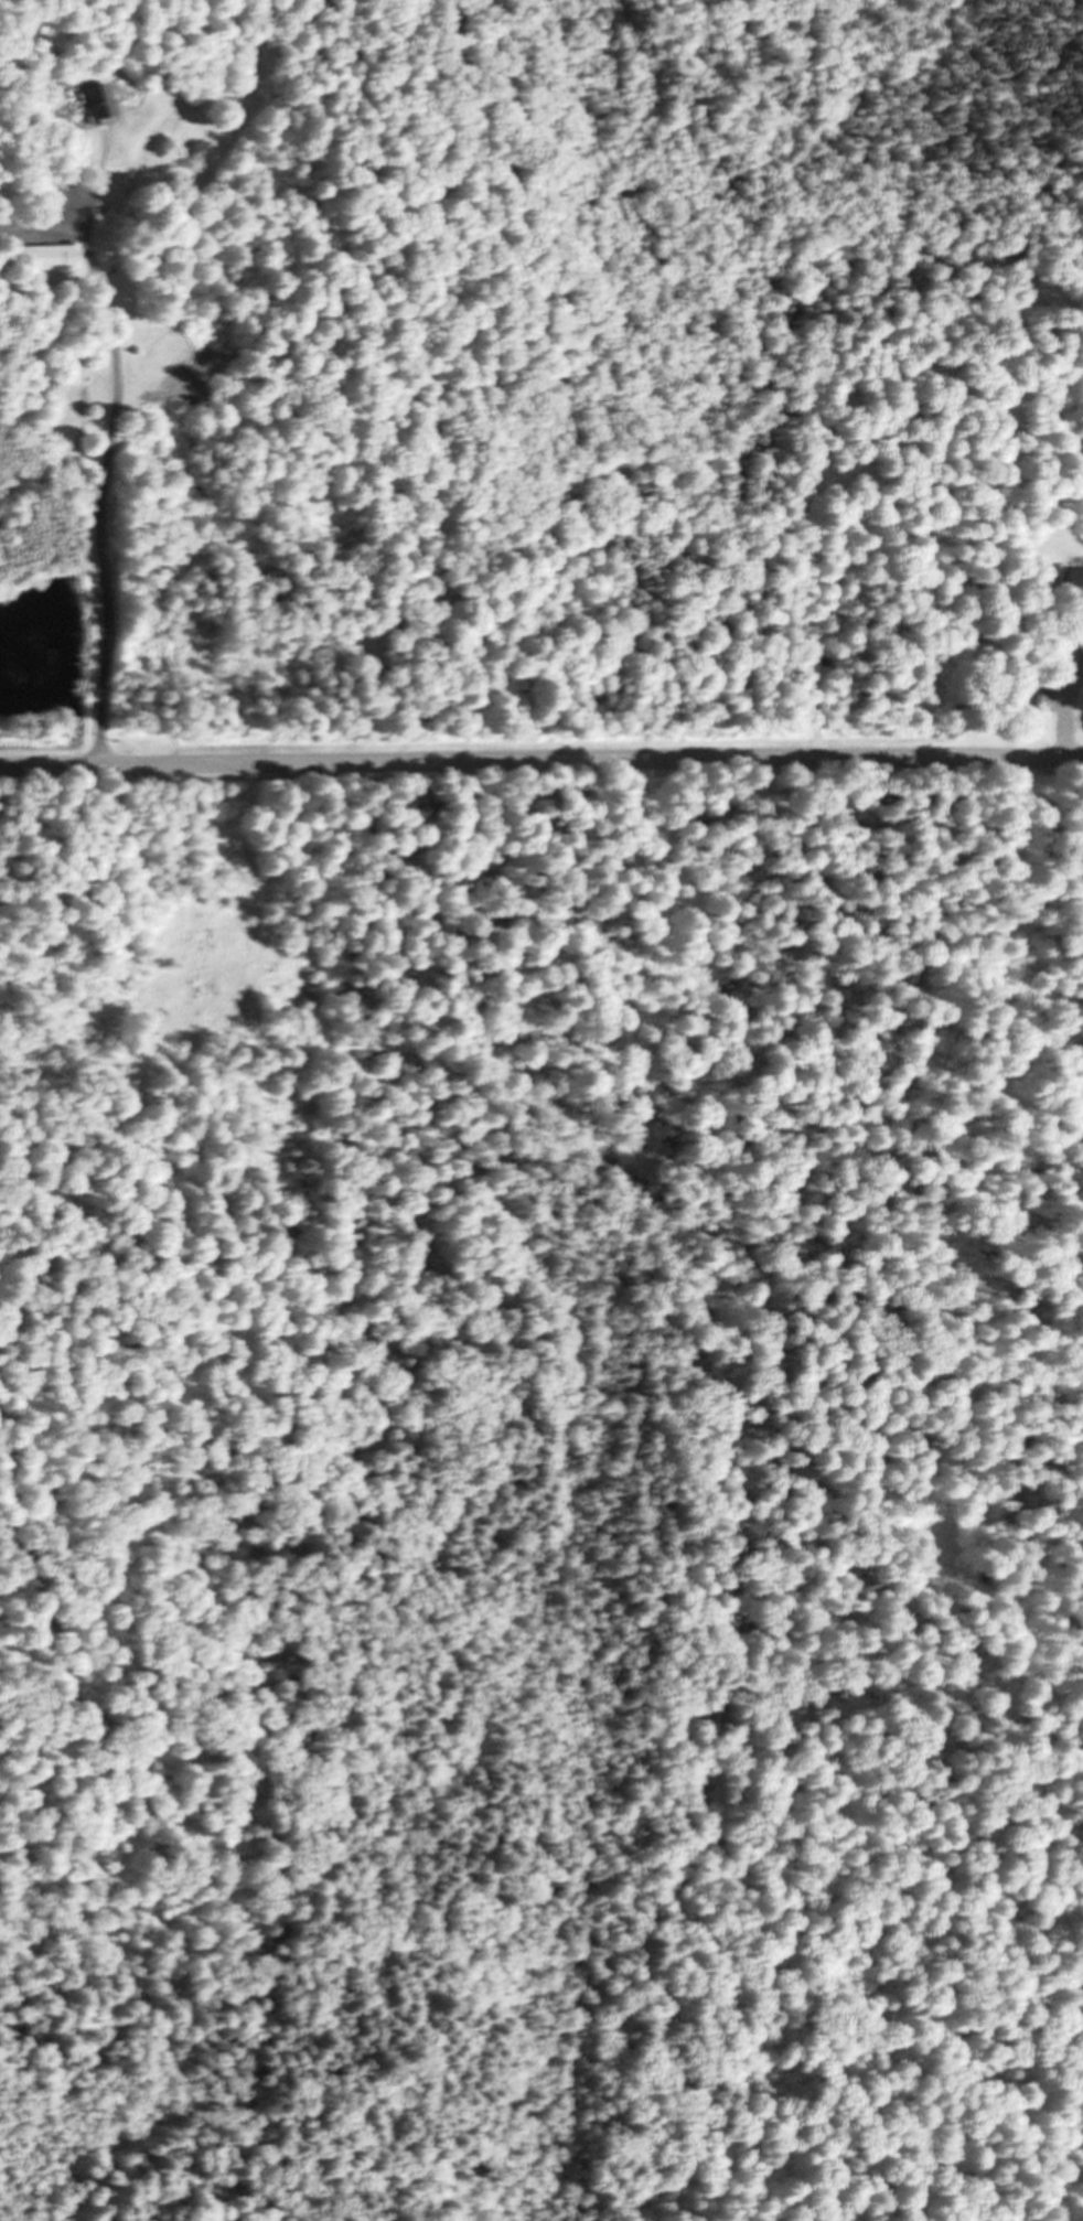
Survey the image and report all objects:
building: (100, 100)
building: (44, 259)
building: (1073, 580)
building: (1028, 694)
road: (541, 760)

